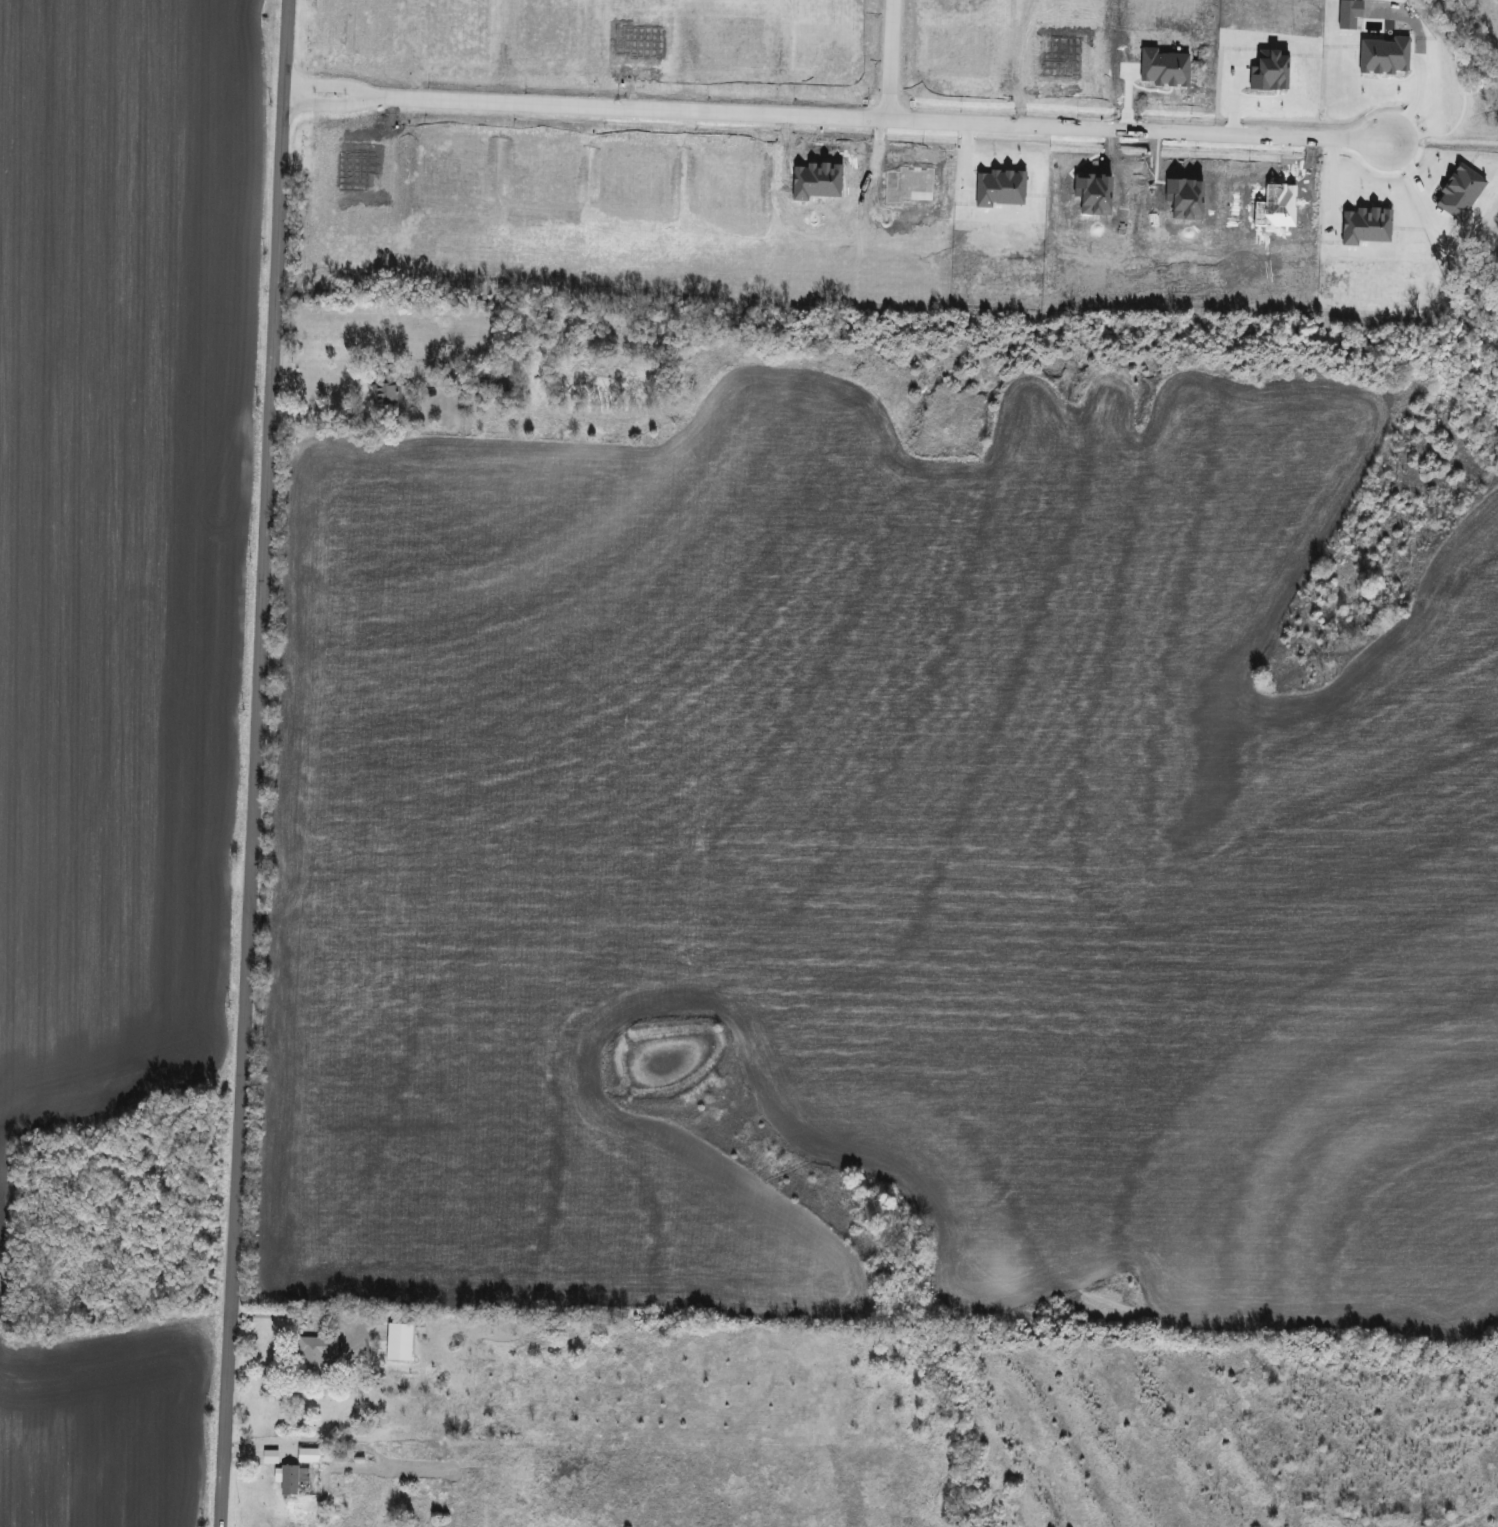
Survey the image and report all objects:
road: (325, 82)
road: (326, 106)
road: (683, 109)
road: (1136, 129)
building: (386, 391)
road: (317, 412)
road: (253, 763)
road: (298, 1311)
building: (397, 1342)
building: (312, 1356)
building: (307, 1455)
building: (291, 1479)

